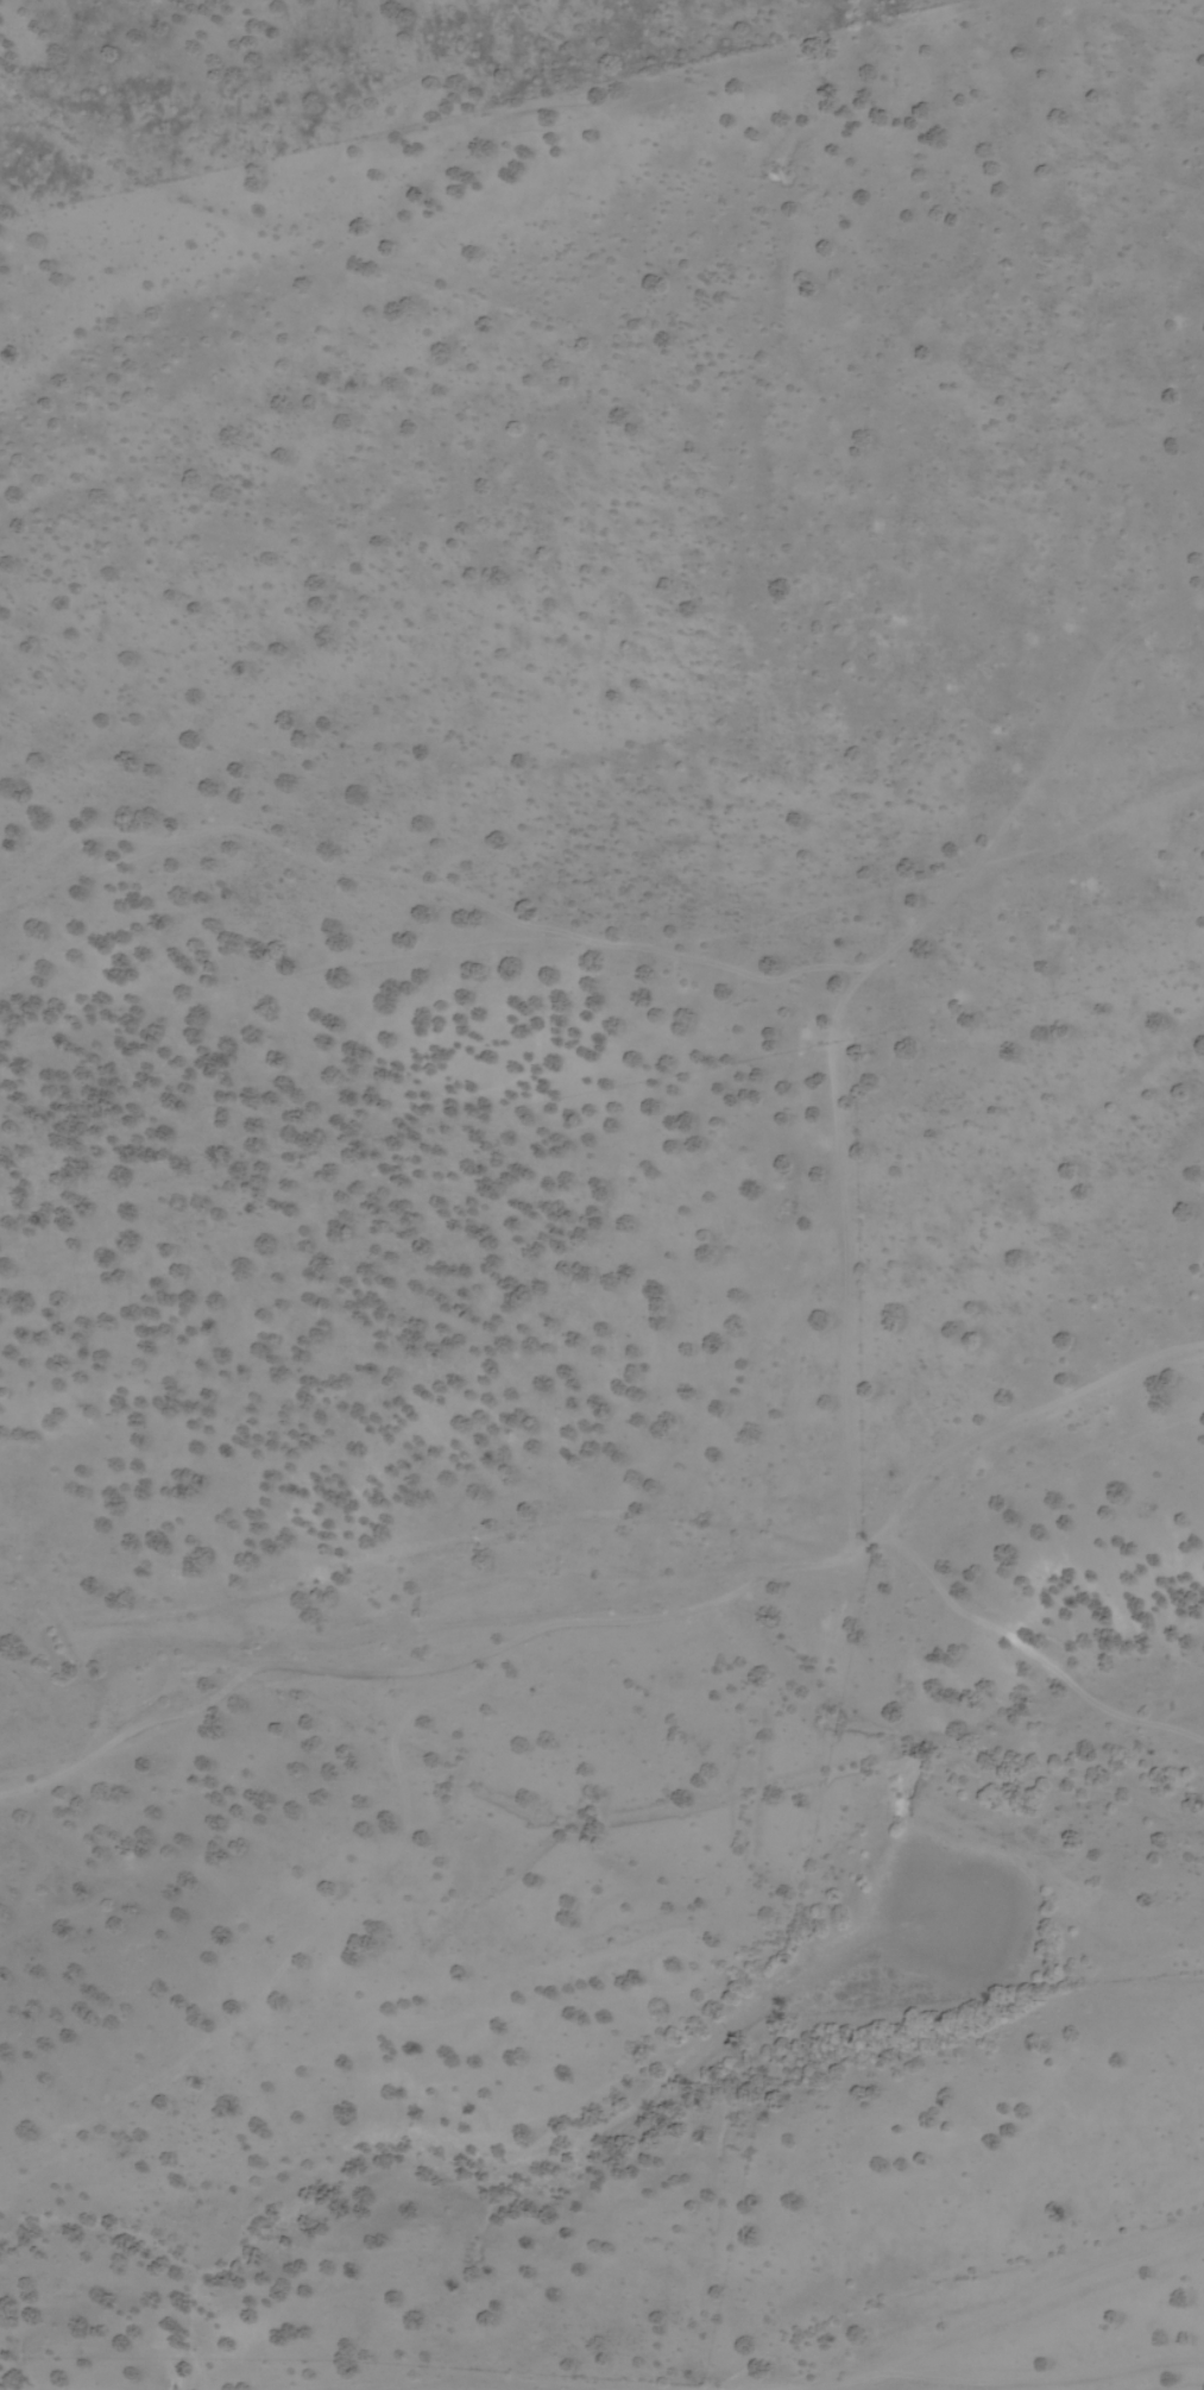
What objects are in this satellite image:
road: (701, 2347)
road: (70, 2378)

